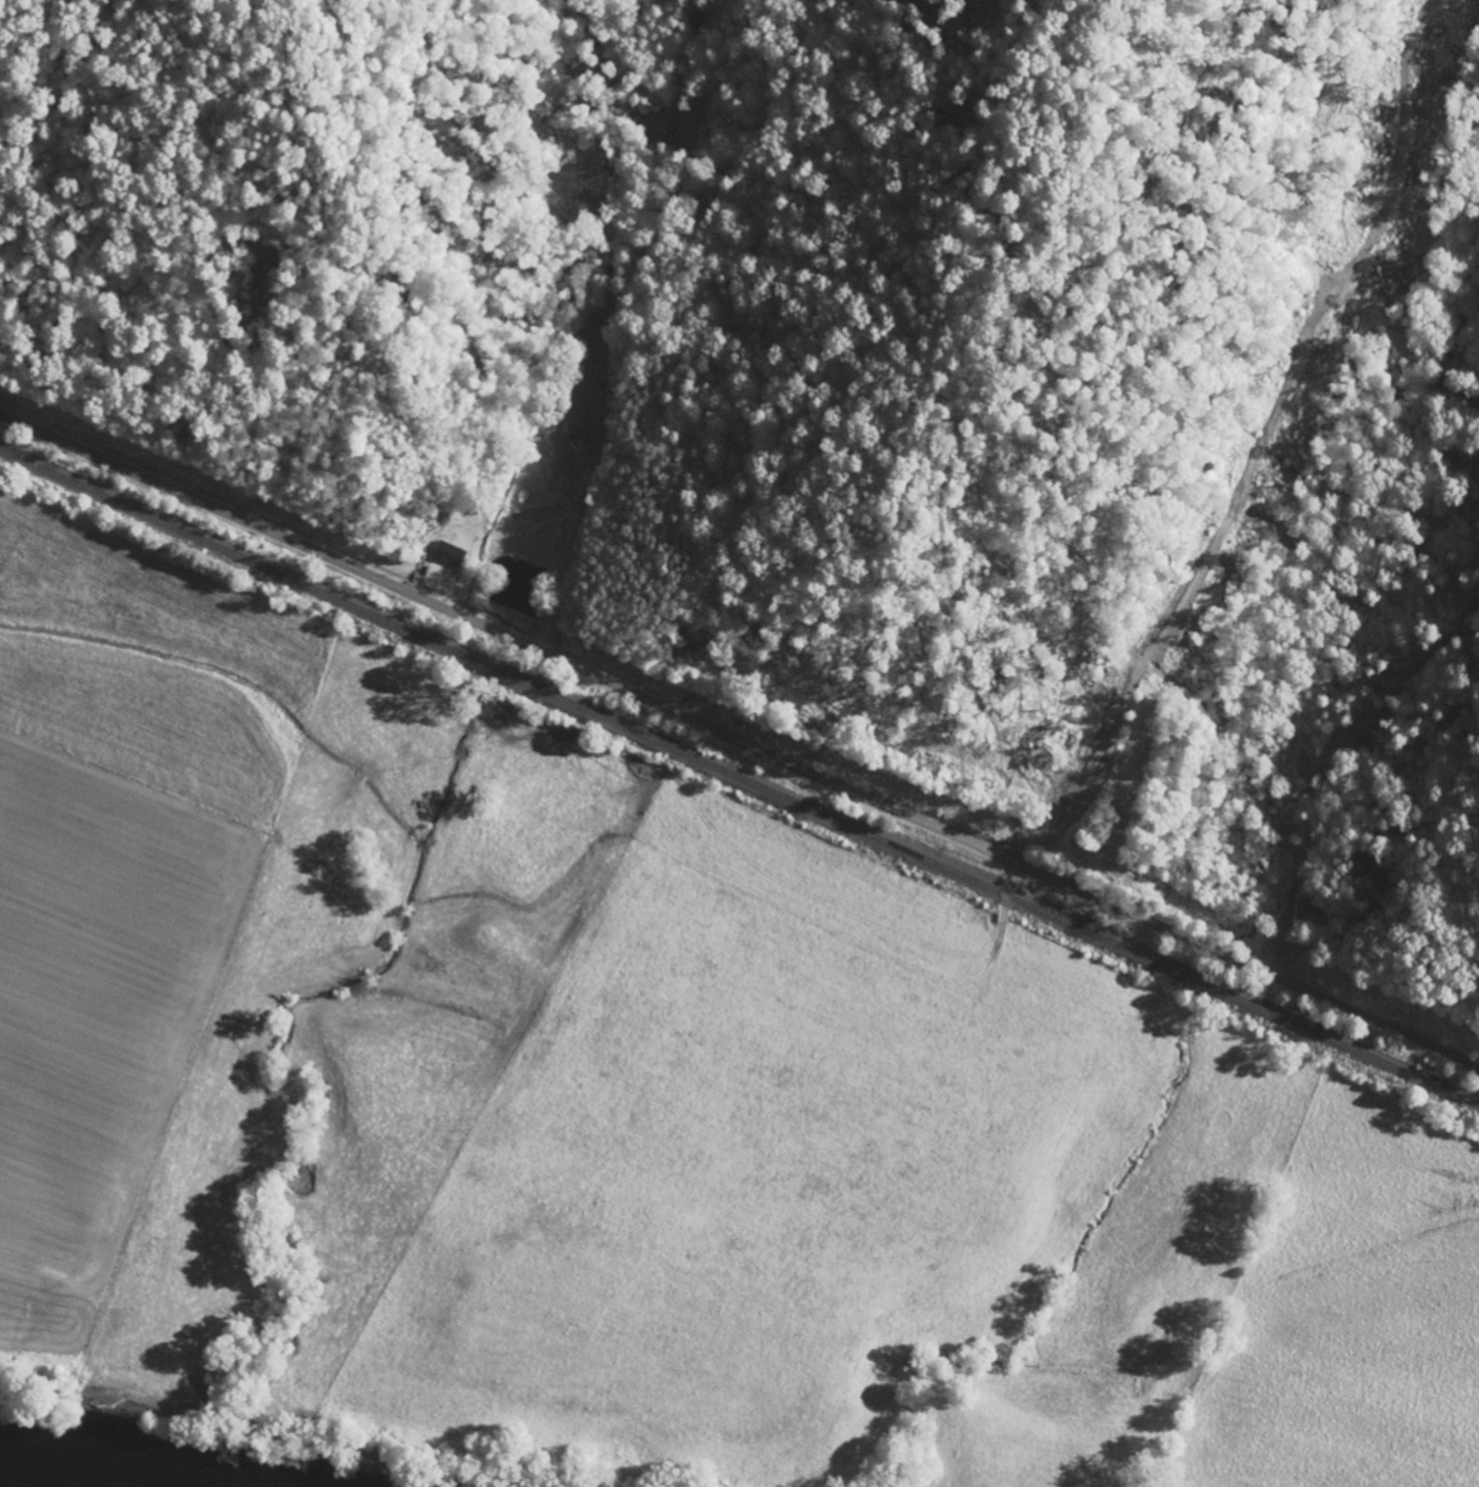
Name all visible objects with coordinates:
building: (454, 554)
road: (723, 734)
railway: (739, 776)
road: (1463, 1062)
river: (19, 1483)

